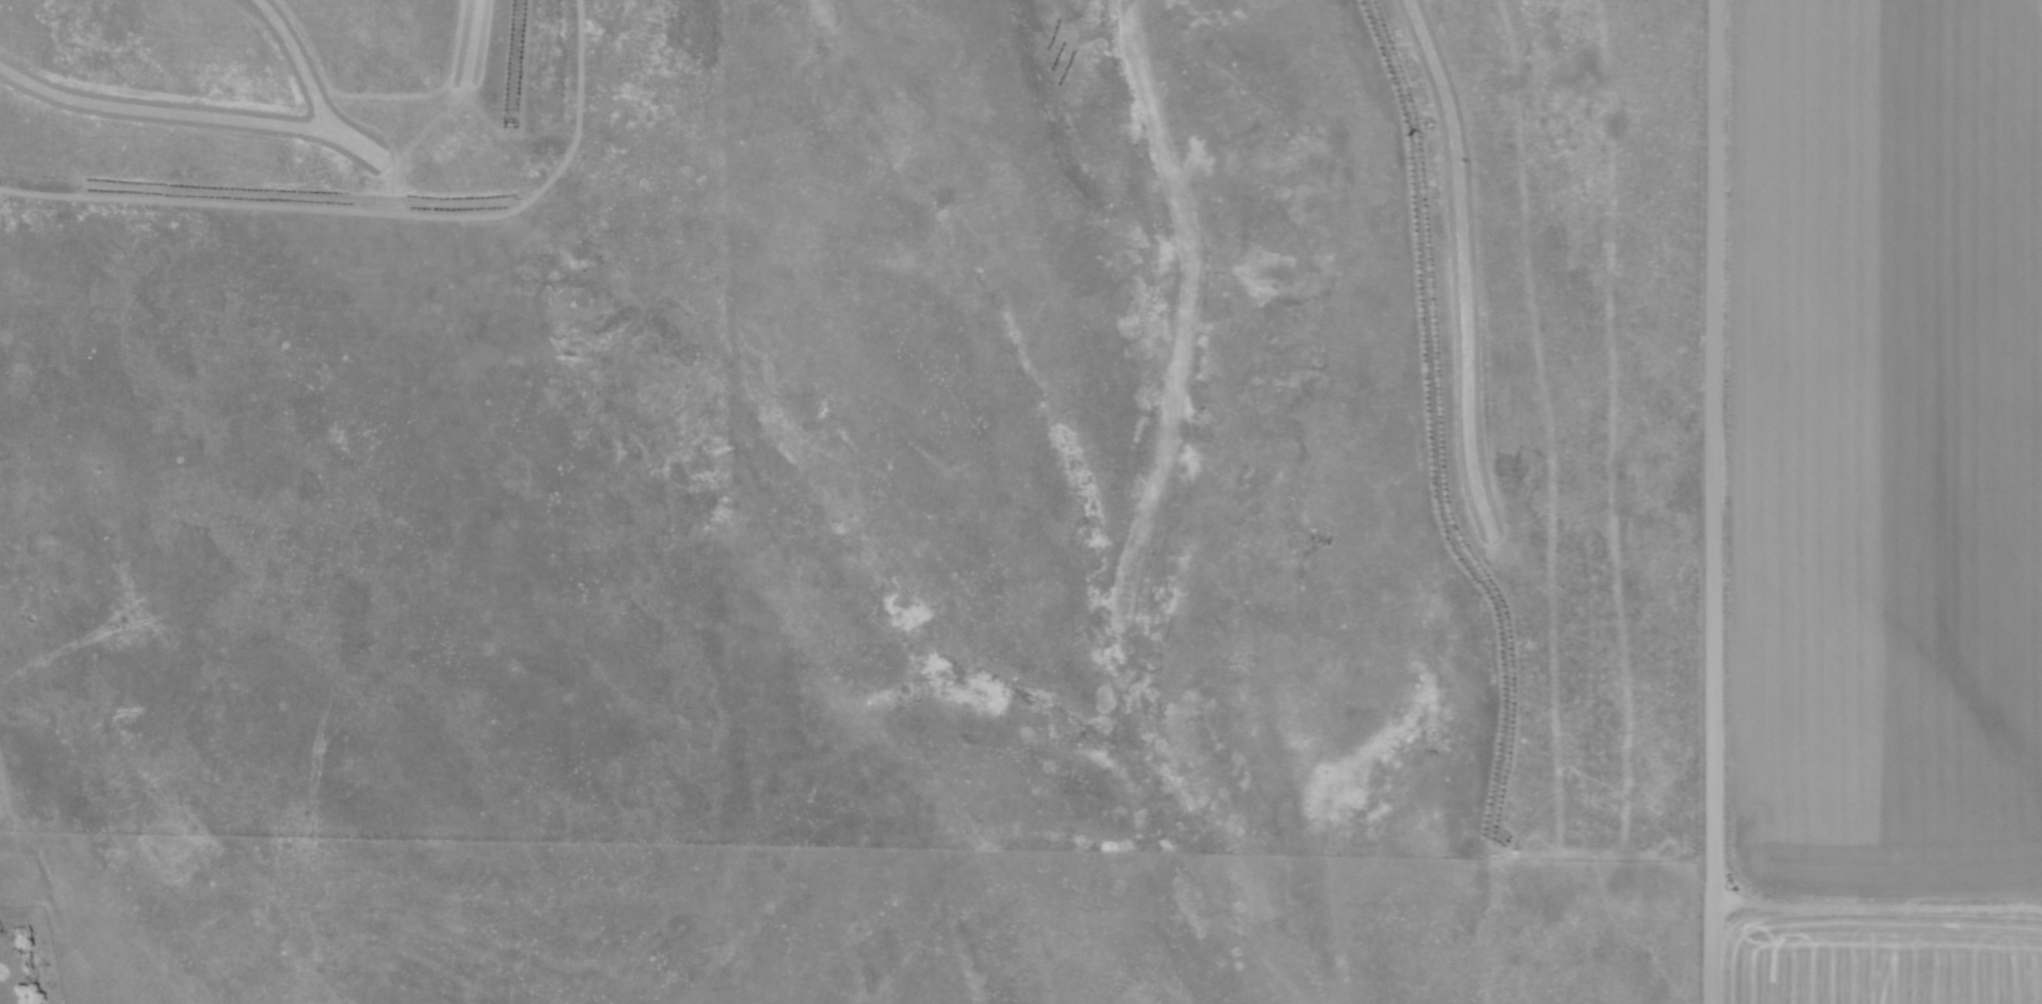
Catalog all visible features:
road: (1709, 501)
road: (1874, 908)

